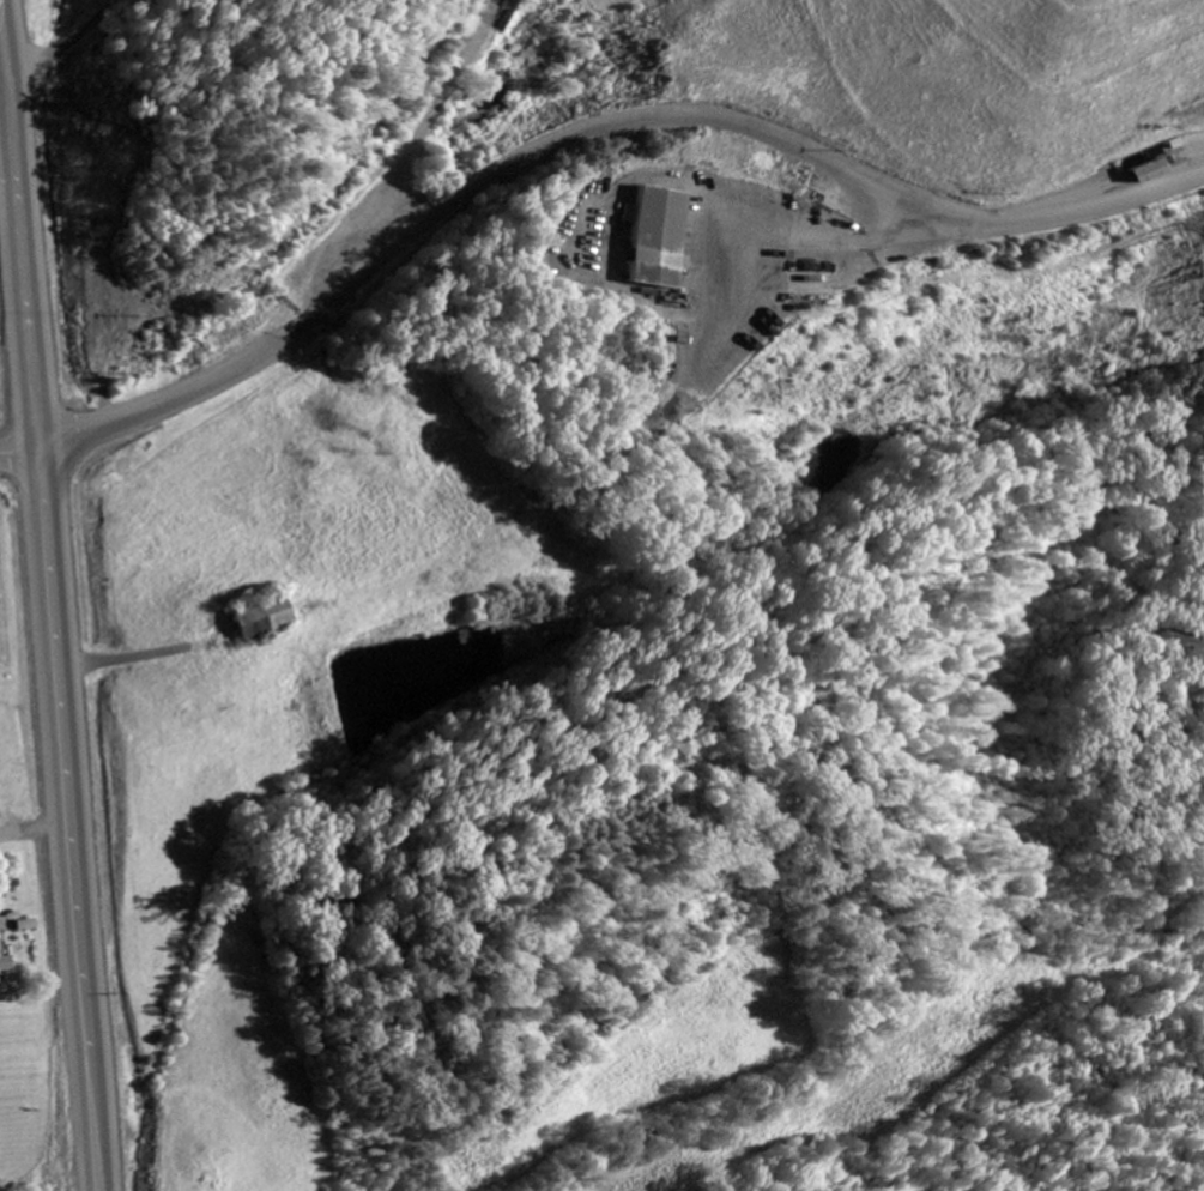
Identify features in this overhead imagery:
road: (67, 49)
road: (0, 52)
road: (730, 121)
landfill: (870, 193)
building: (661, 237)
road: (807, 242)
road: (23, 243)
road: (177, 401)
road: (23, 449)
building: (264, 621)
road: (72, 817)
building: (5, 967)

